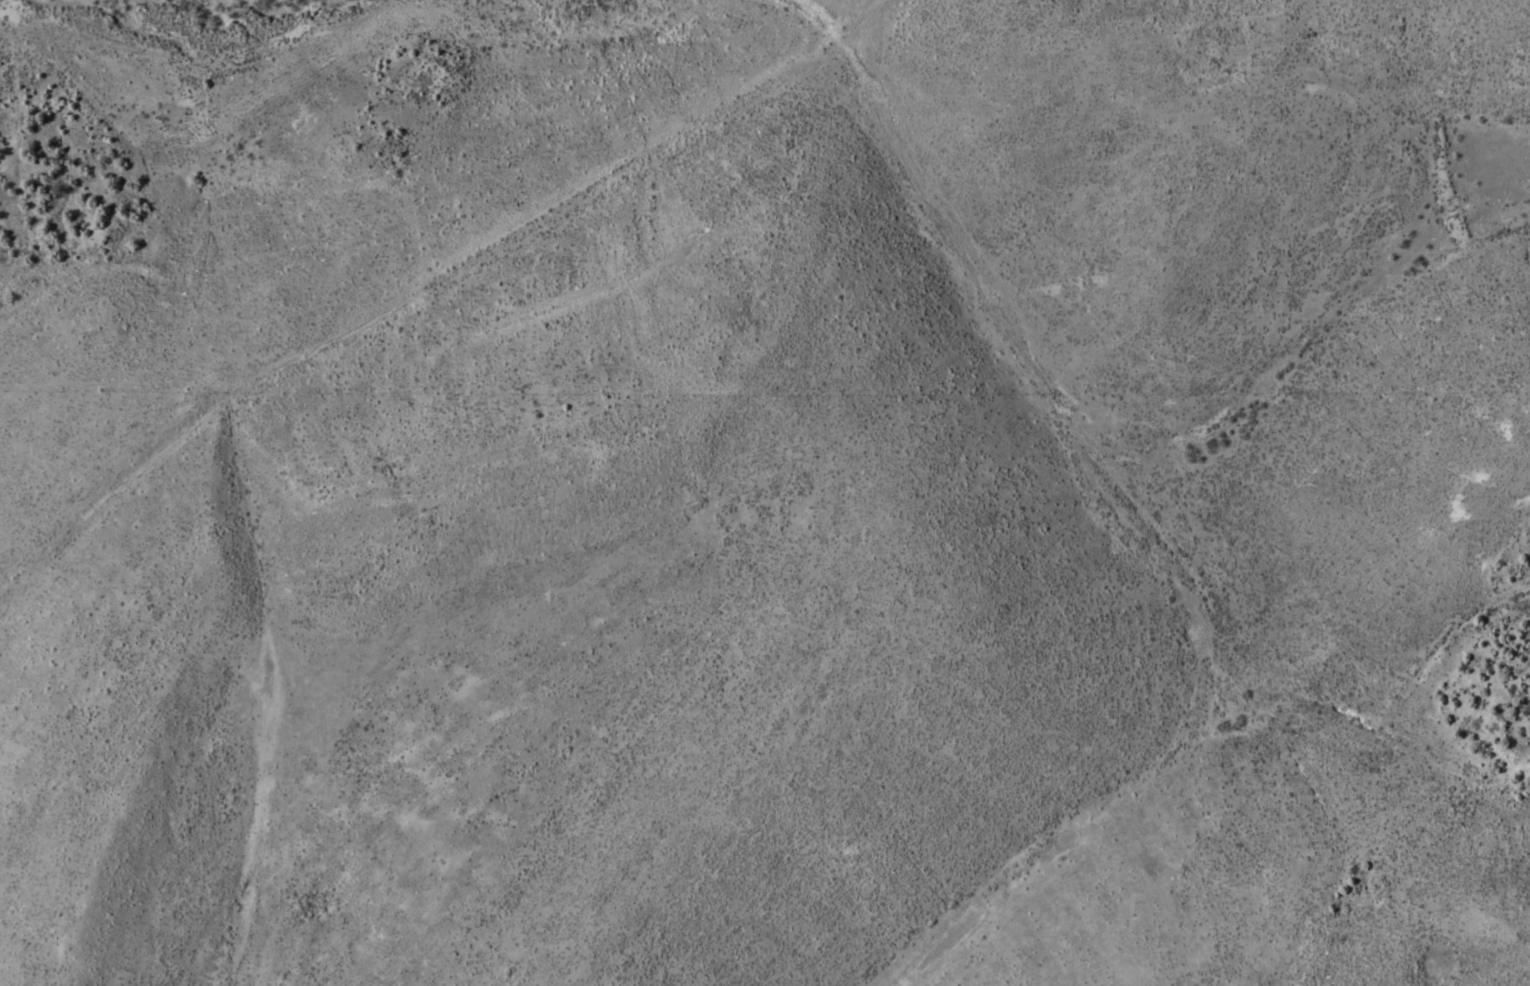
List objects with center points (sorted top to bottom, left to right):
road: (863, 15)
road: (440, 266)

